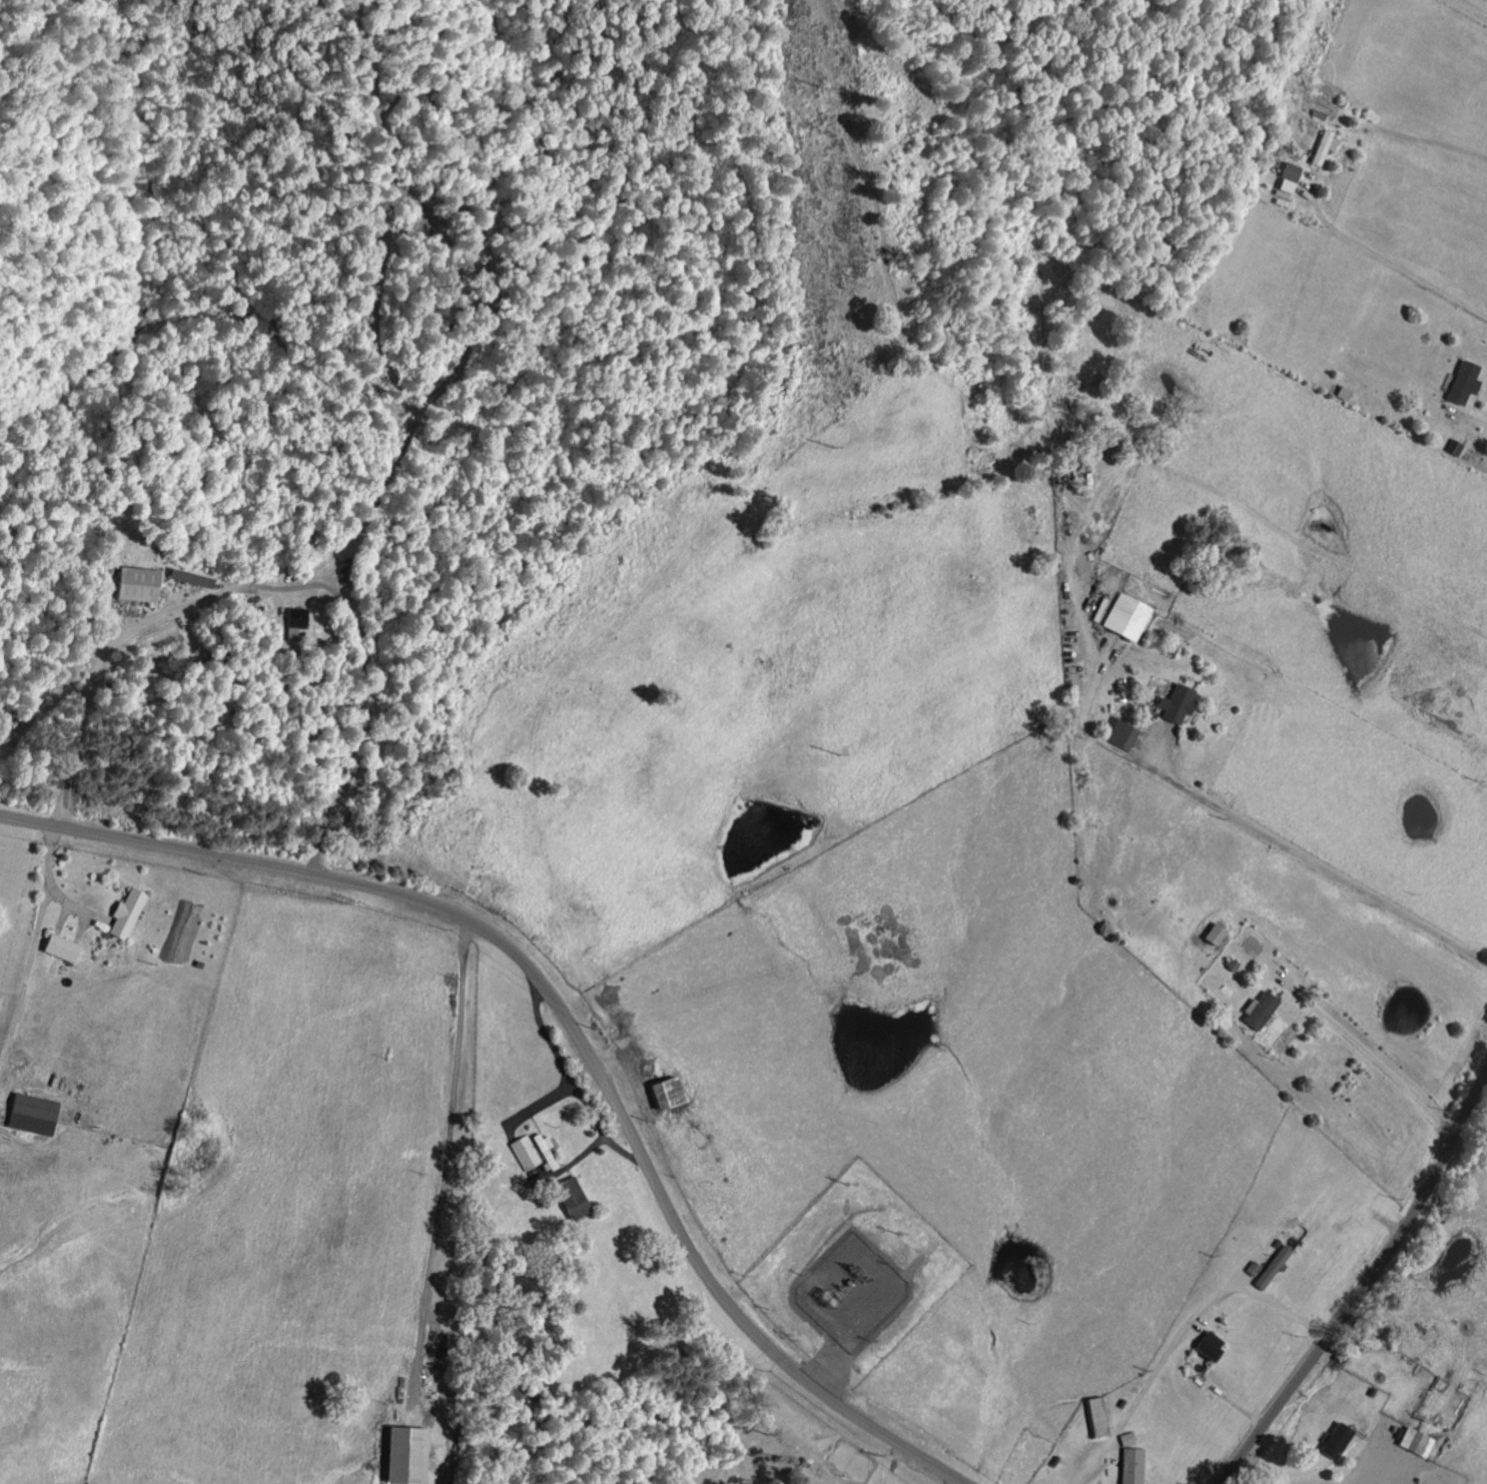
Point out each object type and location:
road: (1468, 10)
building: (1319, 148)
building: (1284, 184)
road: (1356, 202)
road: (1401, 270)
building: (1461, 383)
building: (1341, 393)
road: (1471, 419)
building: (1452, 448)
road: (1366, 552)
building: (144, 585)
building: (1125, 617)
building: (299, 619)
road: (118, 640)
road: (1352, 651)
building: (1172, 703)
building: (1118, 734)
road: (1250, 743)
road: (1140, 773)
building: (130, 913)
building: (1211, 934)
road: (34, 947)
building: (66, 948)
building: (1255, 1011)
road: (568, 1022)
road: (1388, 1070)
building: (660, 1092)
building: (532, 1152)
road: (446, 1165)
building: (568, 1198)
building: (1273, 1268)
road: (1366, 1289)
power substation: (852, 1291)
road: (1184, 1337)
building: (1207, 1345)
building: (1097, 1416)
building: (1334, 1441)
building: (1413, 1442)
building: (400, 1455)
building: (1129, 1461)
road: (956, 1481)

